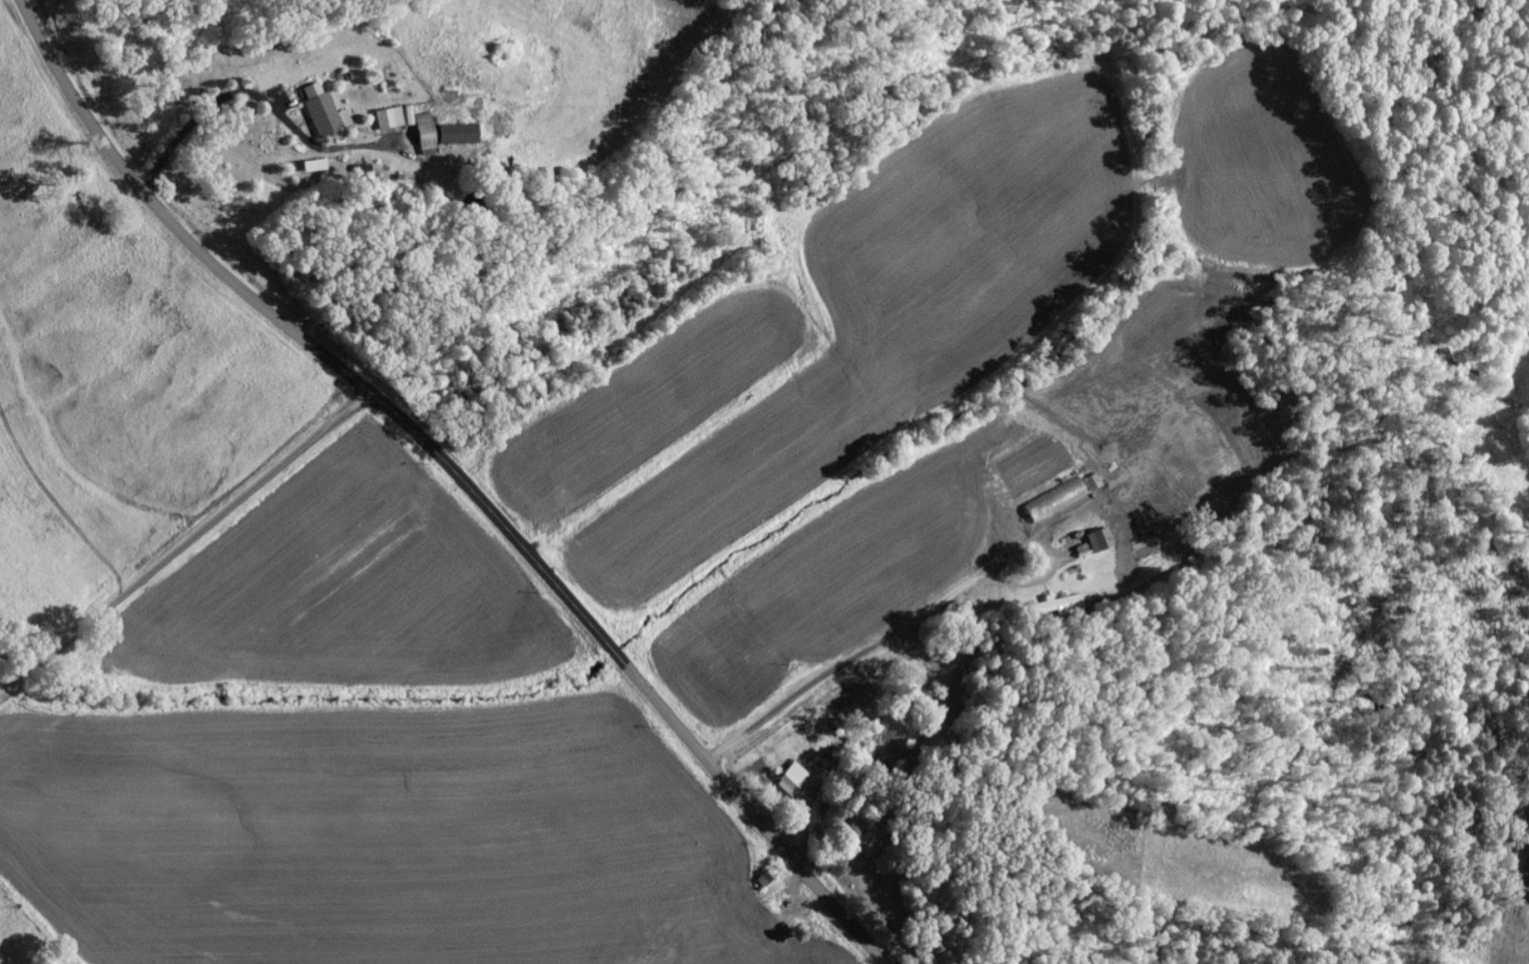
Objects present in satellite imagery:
building: (326, 112)
building: (397, 118)
building: (460, 135)
building: (316, 166)
road: (458, 474)
building: (1059, 501)
building: (1102, 541)
road: (184, 547)
building: (1062, 606)
building: (796, 780)

